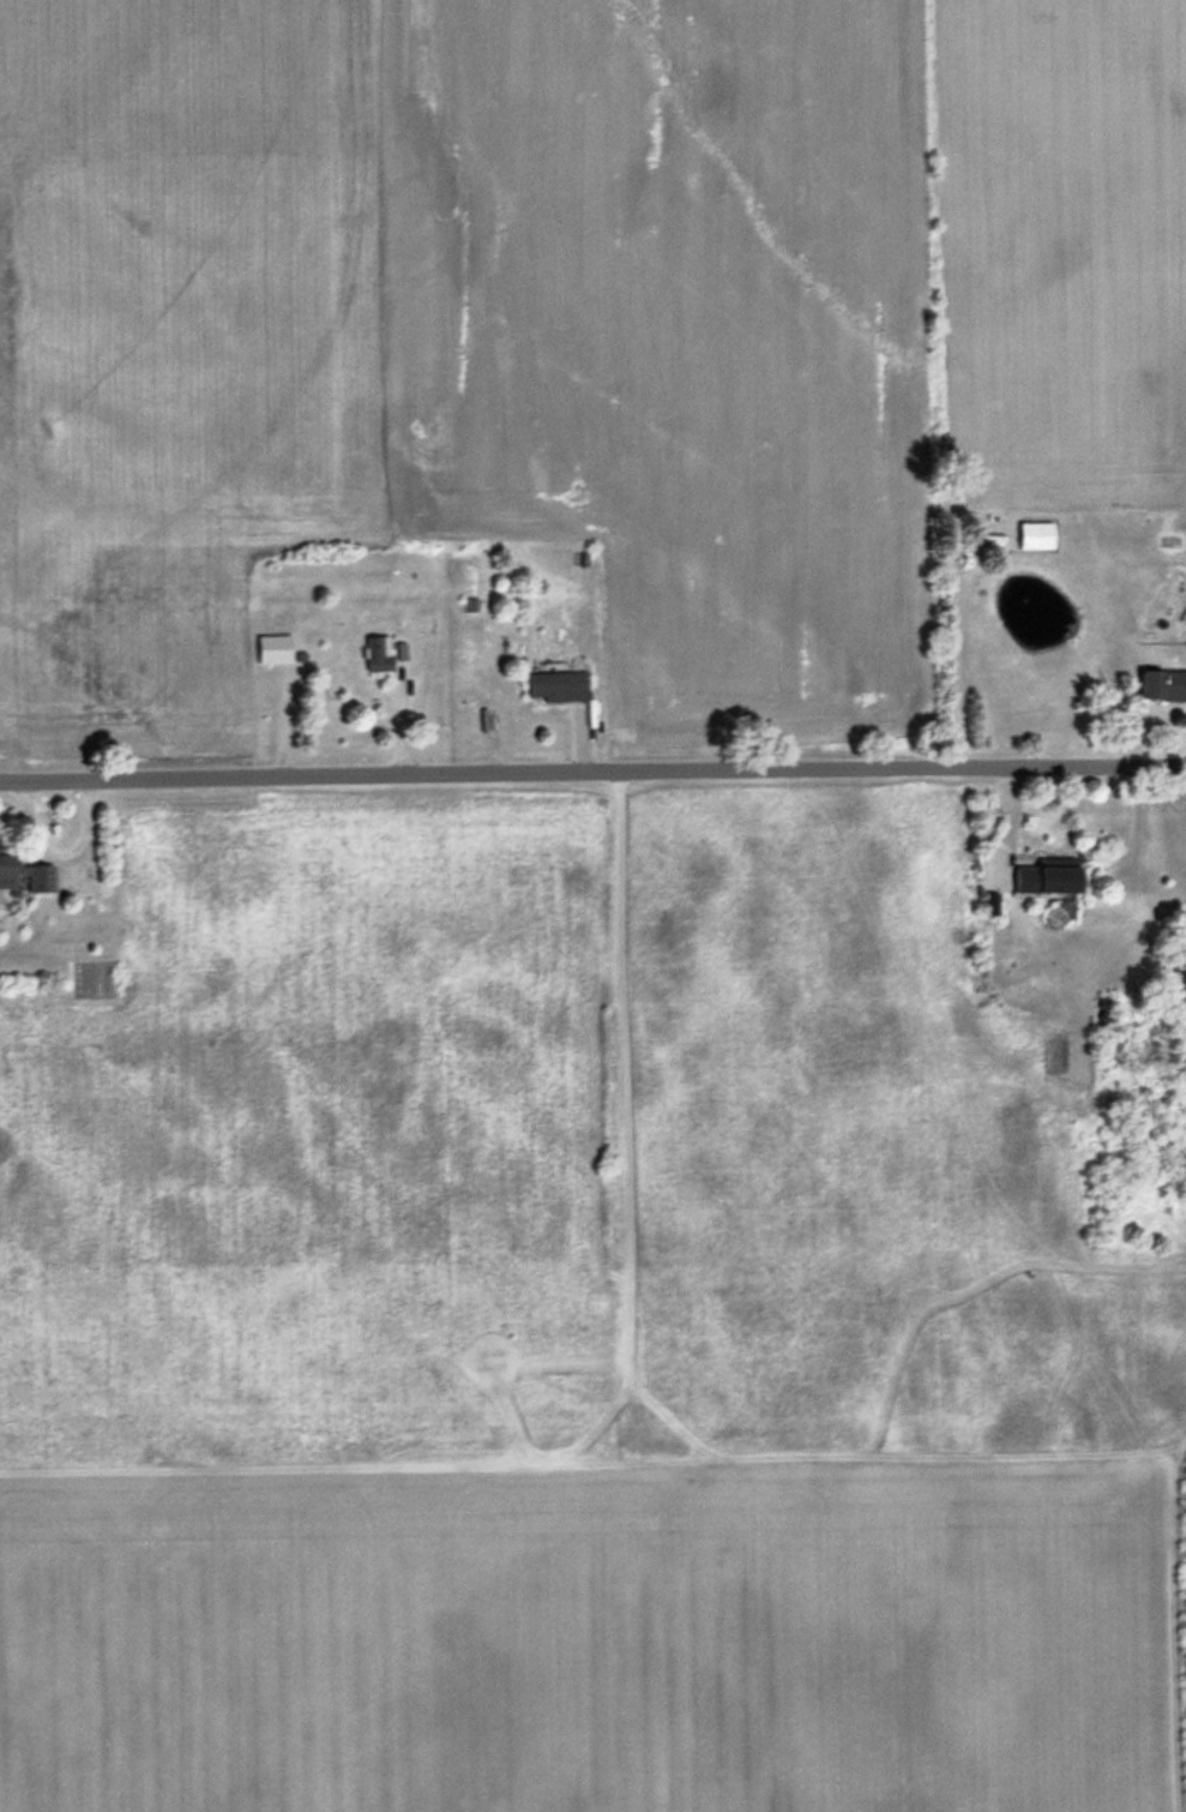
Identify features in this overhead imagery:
building: (1038, 533)
building: (469, 601)
building: (277, 646)
building: (381, 652)
building: (560, 682)
building: (1164, 683)
road: (592, 778)
building: (22, 870)
building: (1052, 877)

